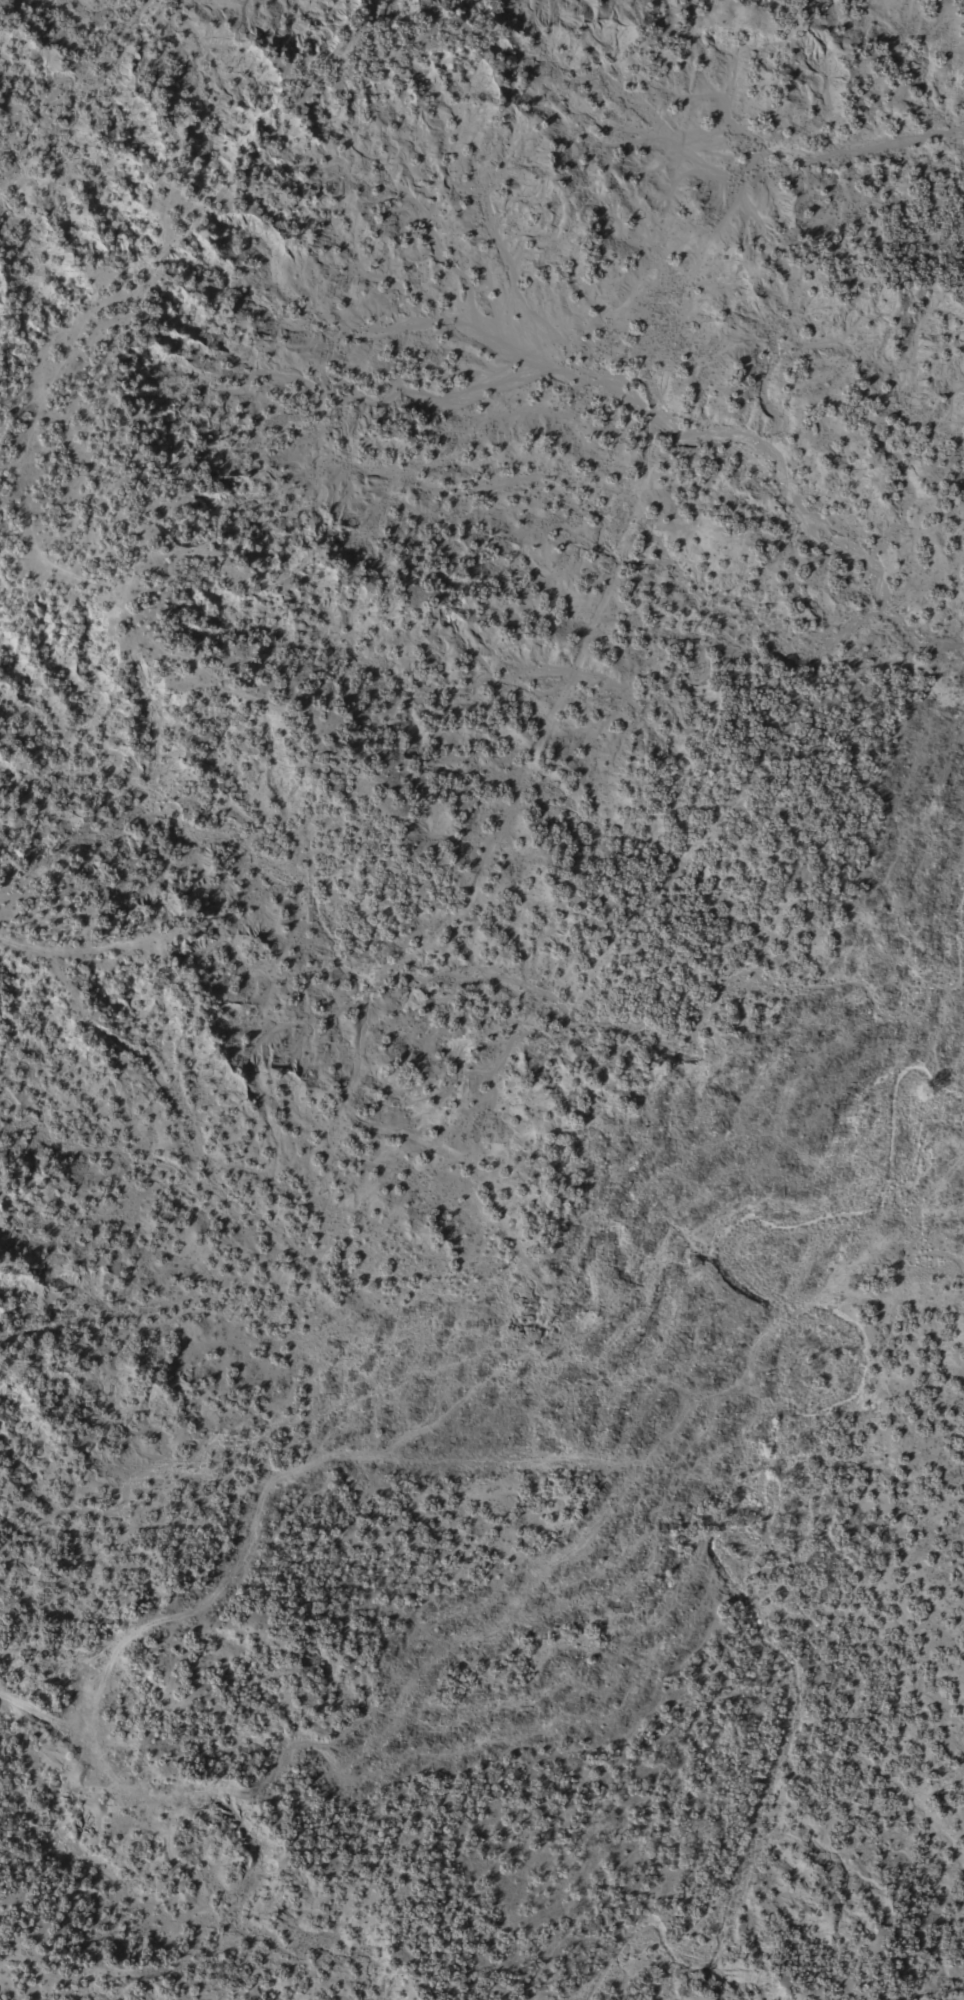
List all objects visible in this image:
road: (22, 1787)

